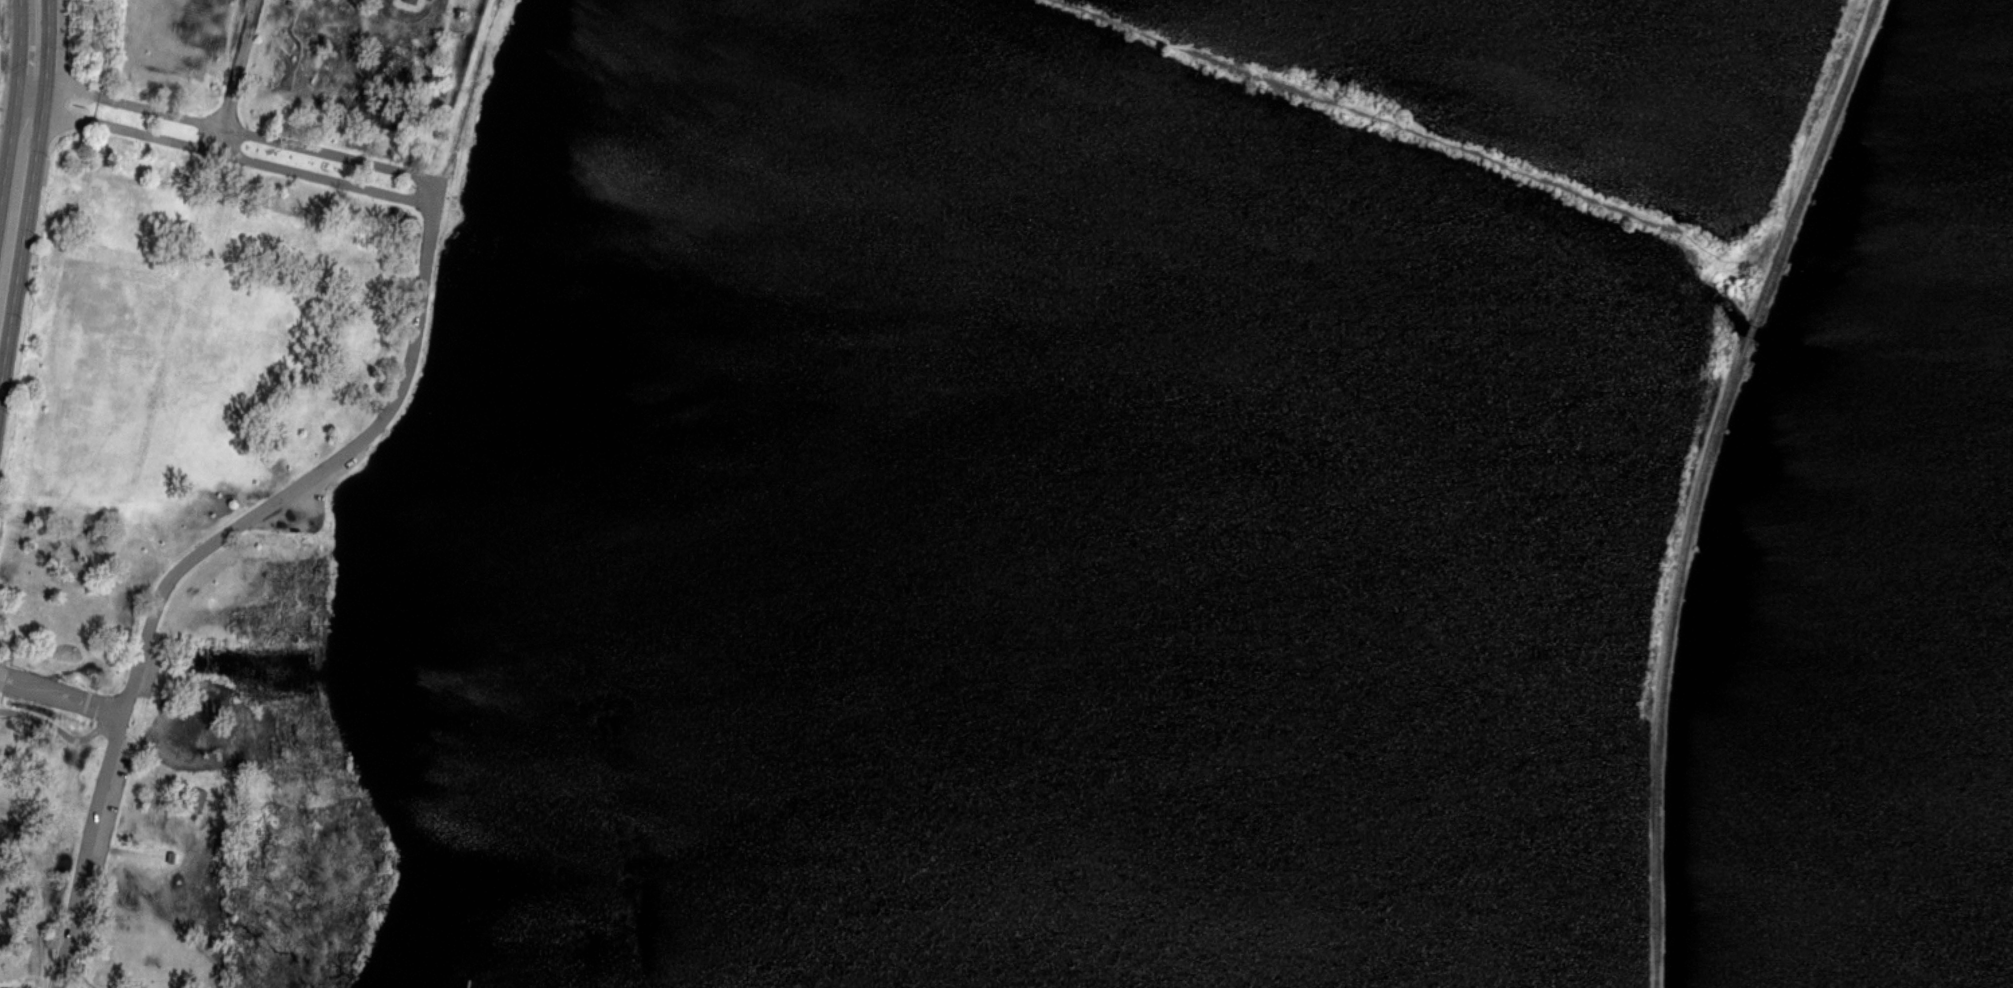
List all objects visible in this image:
building: (411, 1)
road: (238, 76)
road: (129, 103)
road: (123, 128)
road: (1405, 129)
road: (23, 150)
road: (337, 155)
railway: (1816, 160)
road: (324, 178)
railway: (1752, 330)
park: (1015, 496)
road: (193, 556)
railway: (1666, 657)
road: (61, 696)
road: (60, 728)
building: (197, 800)
building: (7, 833)
road: (128, 851)
building: (170, 859)
road: (40, 912)

